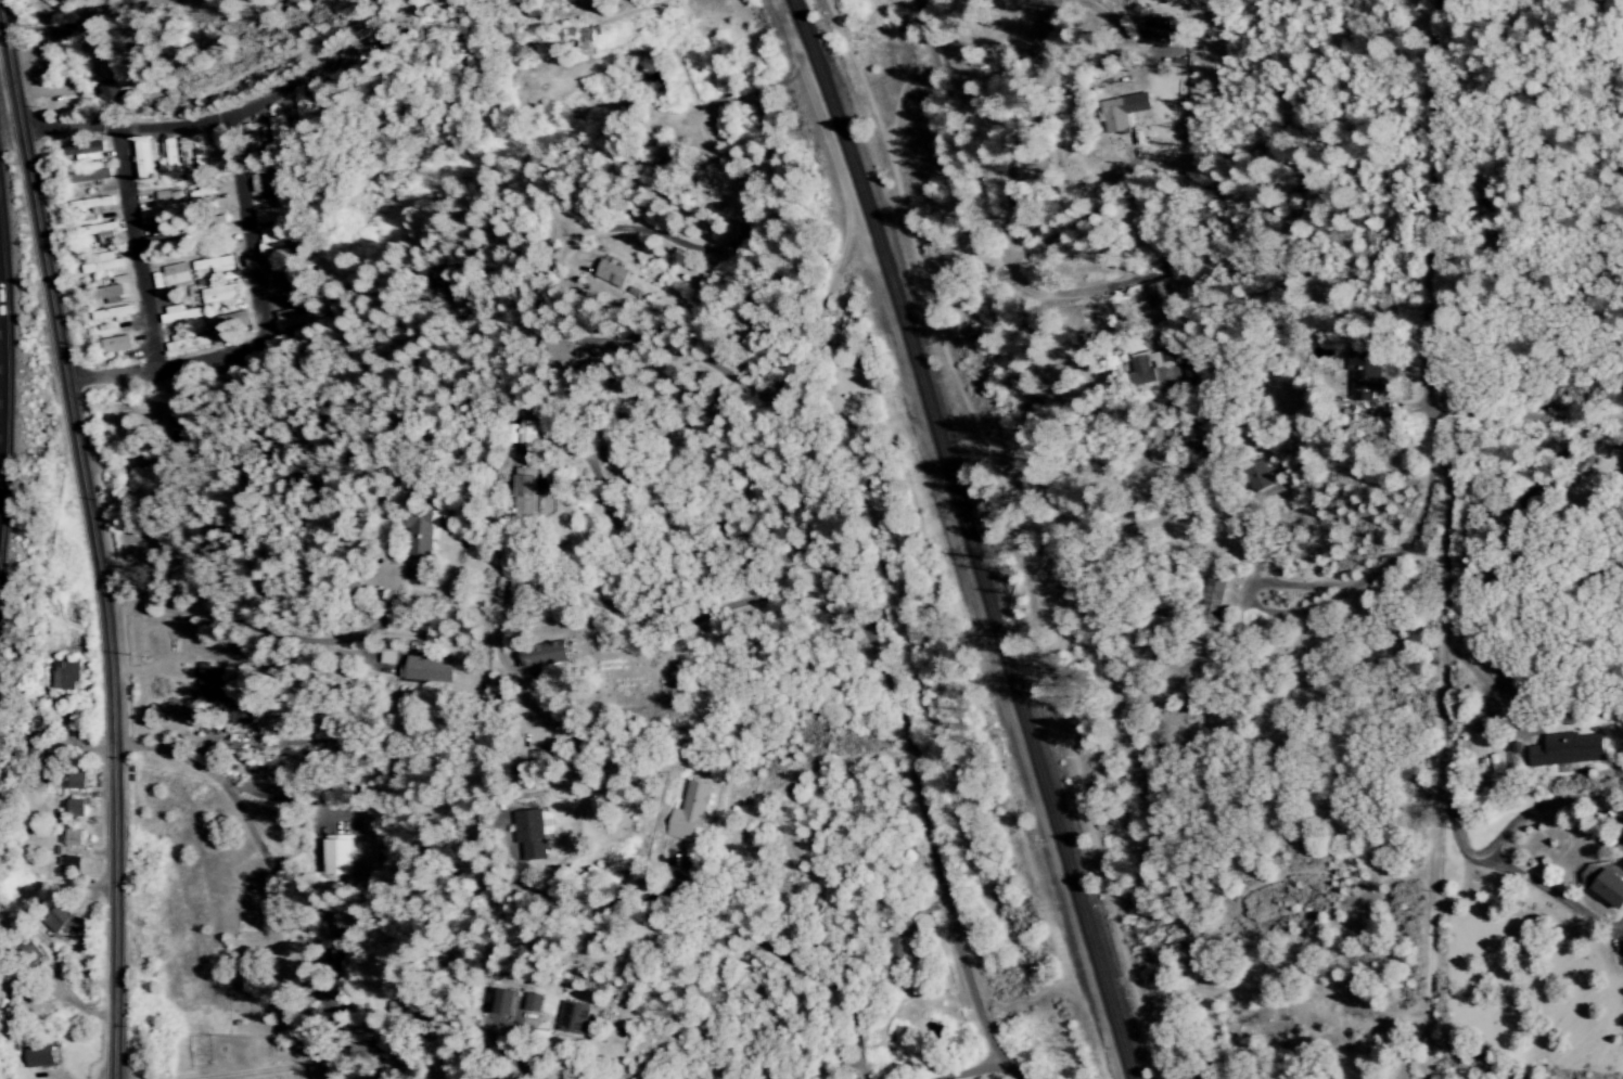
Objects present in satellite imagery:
road: (985, 3)
building: (583, 36)
building: (345, 67)
building: (107, 93)
building: (304, 110)
building: (1122, 112)
road: (225, 119)
building: (280, 131)
road: (827, 140)
road: (960, 144)
building: (84, 152)
building: (176, 154)
building: (201, 155)
building: (146, 160)
road: (1007, 177)
building: (266, 182)
building: (90, 204)
building: (163, 210)
building: (273, 215)
building: (98, 234)
building: (268, 240)
road: (132, 252)
building: (102, 264)
building: (210, 265)
building: (169, 274)
building: (611, 274)
building: (107, 294)
building: (218, 295)
road: (1060, 295)
building: (1160, 295)
building: (286, 297)
building: (113, 313)
building: (178, 313)
building: (227, 321)
road: (259, 329)
building: (184, 342)
building: (115, 345)
building: (559, 352)
building: (1143, 368)
building: (1364, 376)
road: (1068, 382)
road: (1523, 418)
building: (527, 433)
road: (102, 463)
building: (1257, 476)
building: (145, 481)
building: (524, 491)
road: (1445, 508)
road: (95, 536)
railway: (969, 537)
building: (422, 547)
road: (790, 565)
road: (1497, 579)
road: (1343, 585)
building: (1211, 602)
road: (389, 605)
road: (1290, 614)
road: (238, 625)
building: (544, 654)
building: (386, 657)
road: (350, 659)
building: (425, 669)
building: (63, 676)
building: (207, 676)
road: (1488, 686)
building: (237, 719)
building: (1567, 749)
road: (170, 757)
building: (75, 781)
road: (1542, 807)
building: (74, 808)
building: (689, 813)
road: (344, 818)
building: (531, 834)
road: (1454, 835)
building: (69, 837)
road: (256, 843)
building: (337, 855)
building: (69, 864)
building: (1610, 888)
road: (1555, 896)
building: (57, 922)
road: (951, 925)
building: (894, 949)
road: (791, 963)
building: (503, 1002)
building: (533, 1002)
building: (573, 1017)
road: (1426, 1050)
building: (38, 1056)
building: (362, 1058)
road: (975, 1070)
building: (317, 1071)

